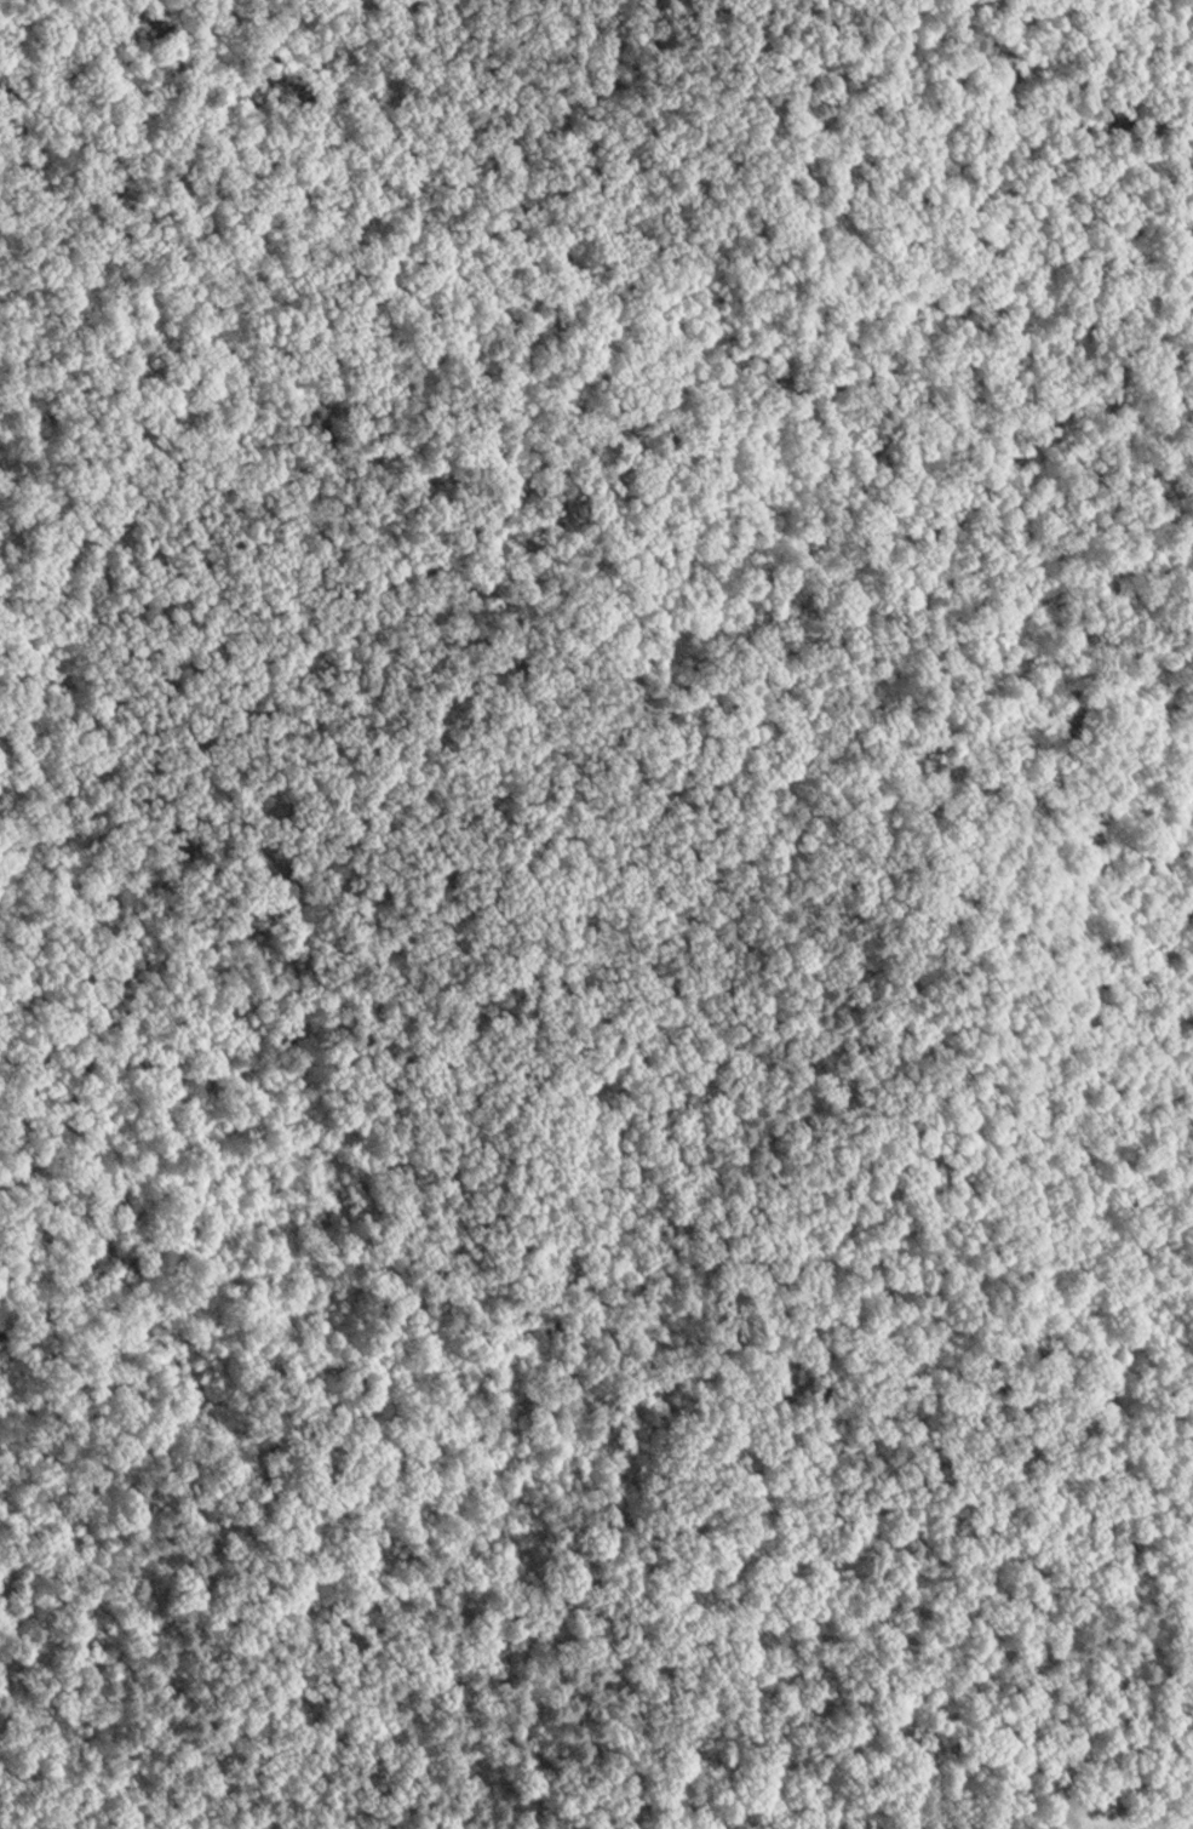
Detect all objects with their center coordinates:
road: (958, 1823)
road: (1011, 1823)

